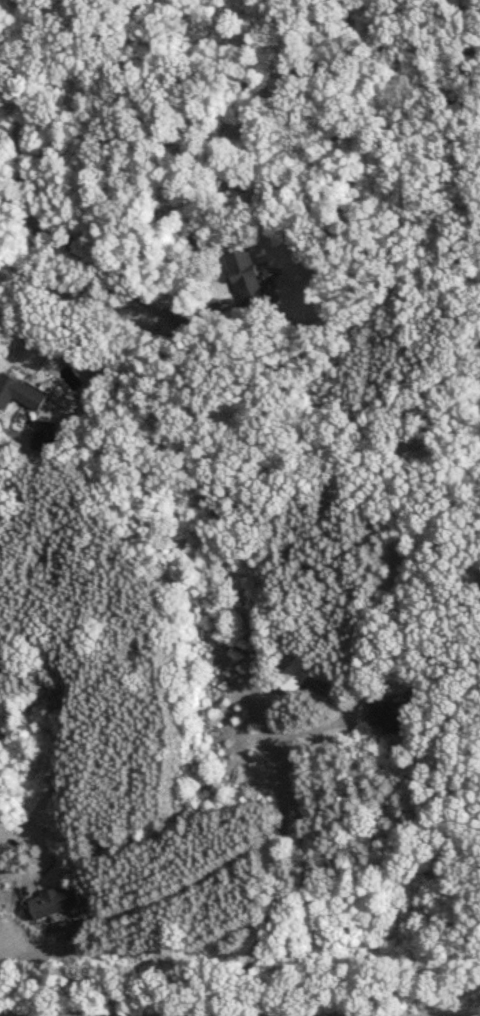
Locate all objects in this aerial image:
road: (76, 248)
road: (27, 268)
building: (251, 281)
building: (20, 394)
road: (2, 425)
building: (45, 434)
building: (319, 686)
building: (395, 714)
road: (204, 777)
road: (283, 793)
road: (358, 821)
building: (56, 903)

